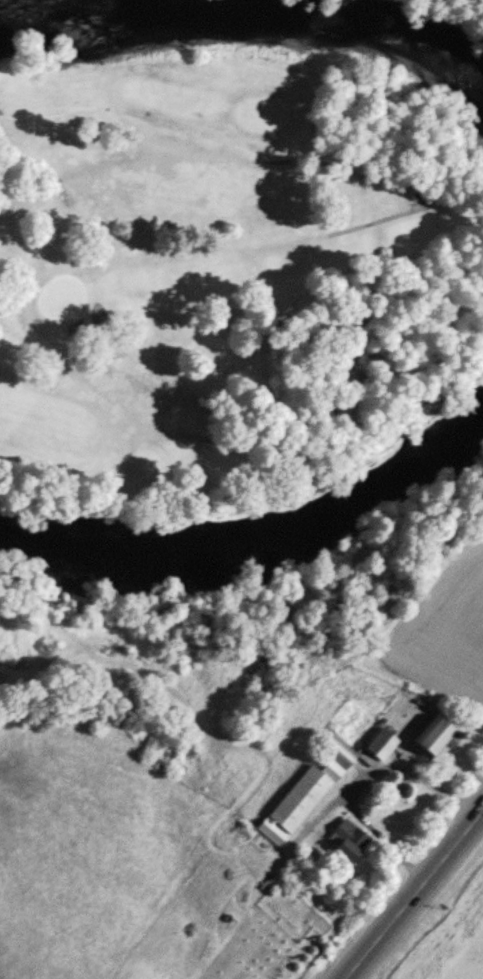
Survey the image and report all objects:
river: (250, 22)
park: (227, 273)
river: (263, 538)
building: (438, 731)
building: (458, 735)
building: (380, 743)
building: (339, 751)
building: (332, 770)
road: (359, 776)
building: (403, 790)
building: (300, 798)
road: (315, 822)
building: (272, 831)
building: (348, 840)
road: (414, 893)

